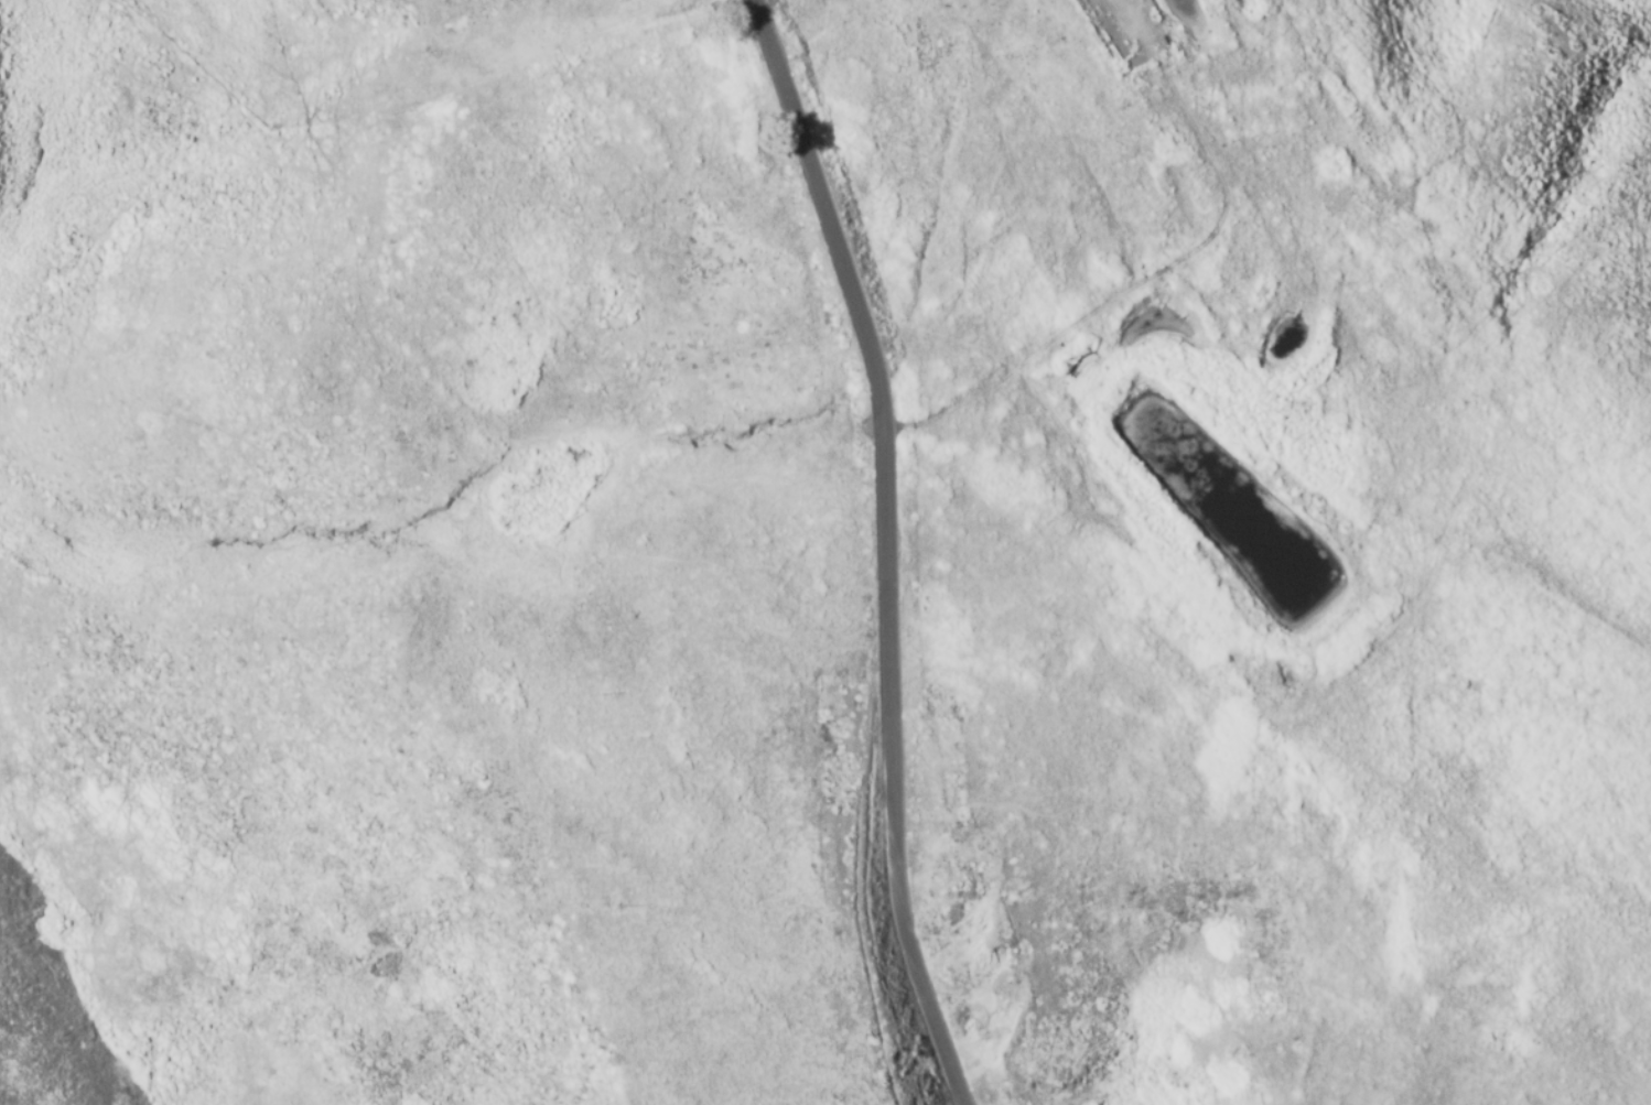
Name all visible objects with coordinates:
road: (887, 546)

